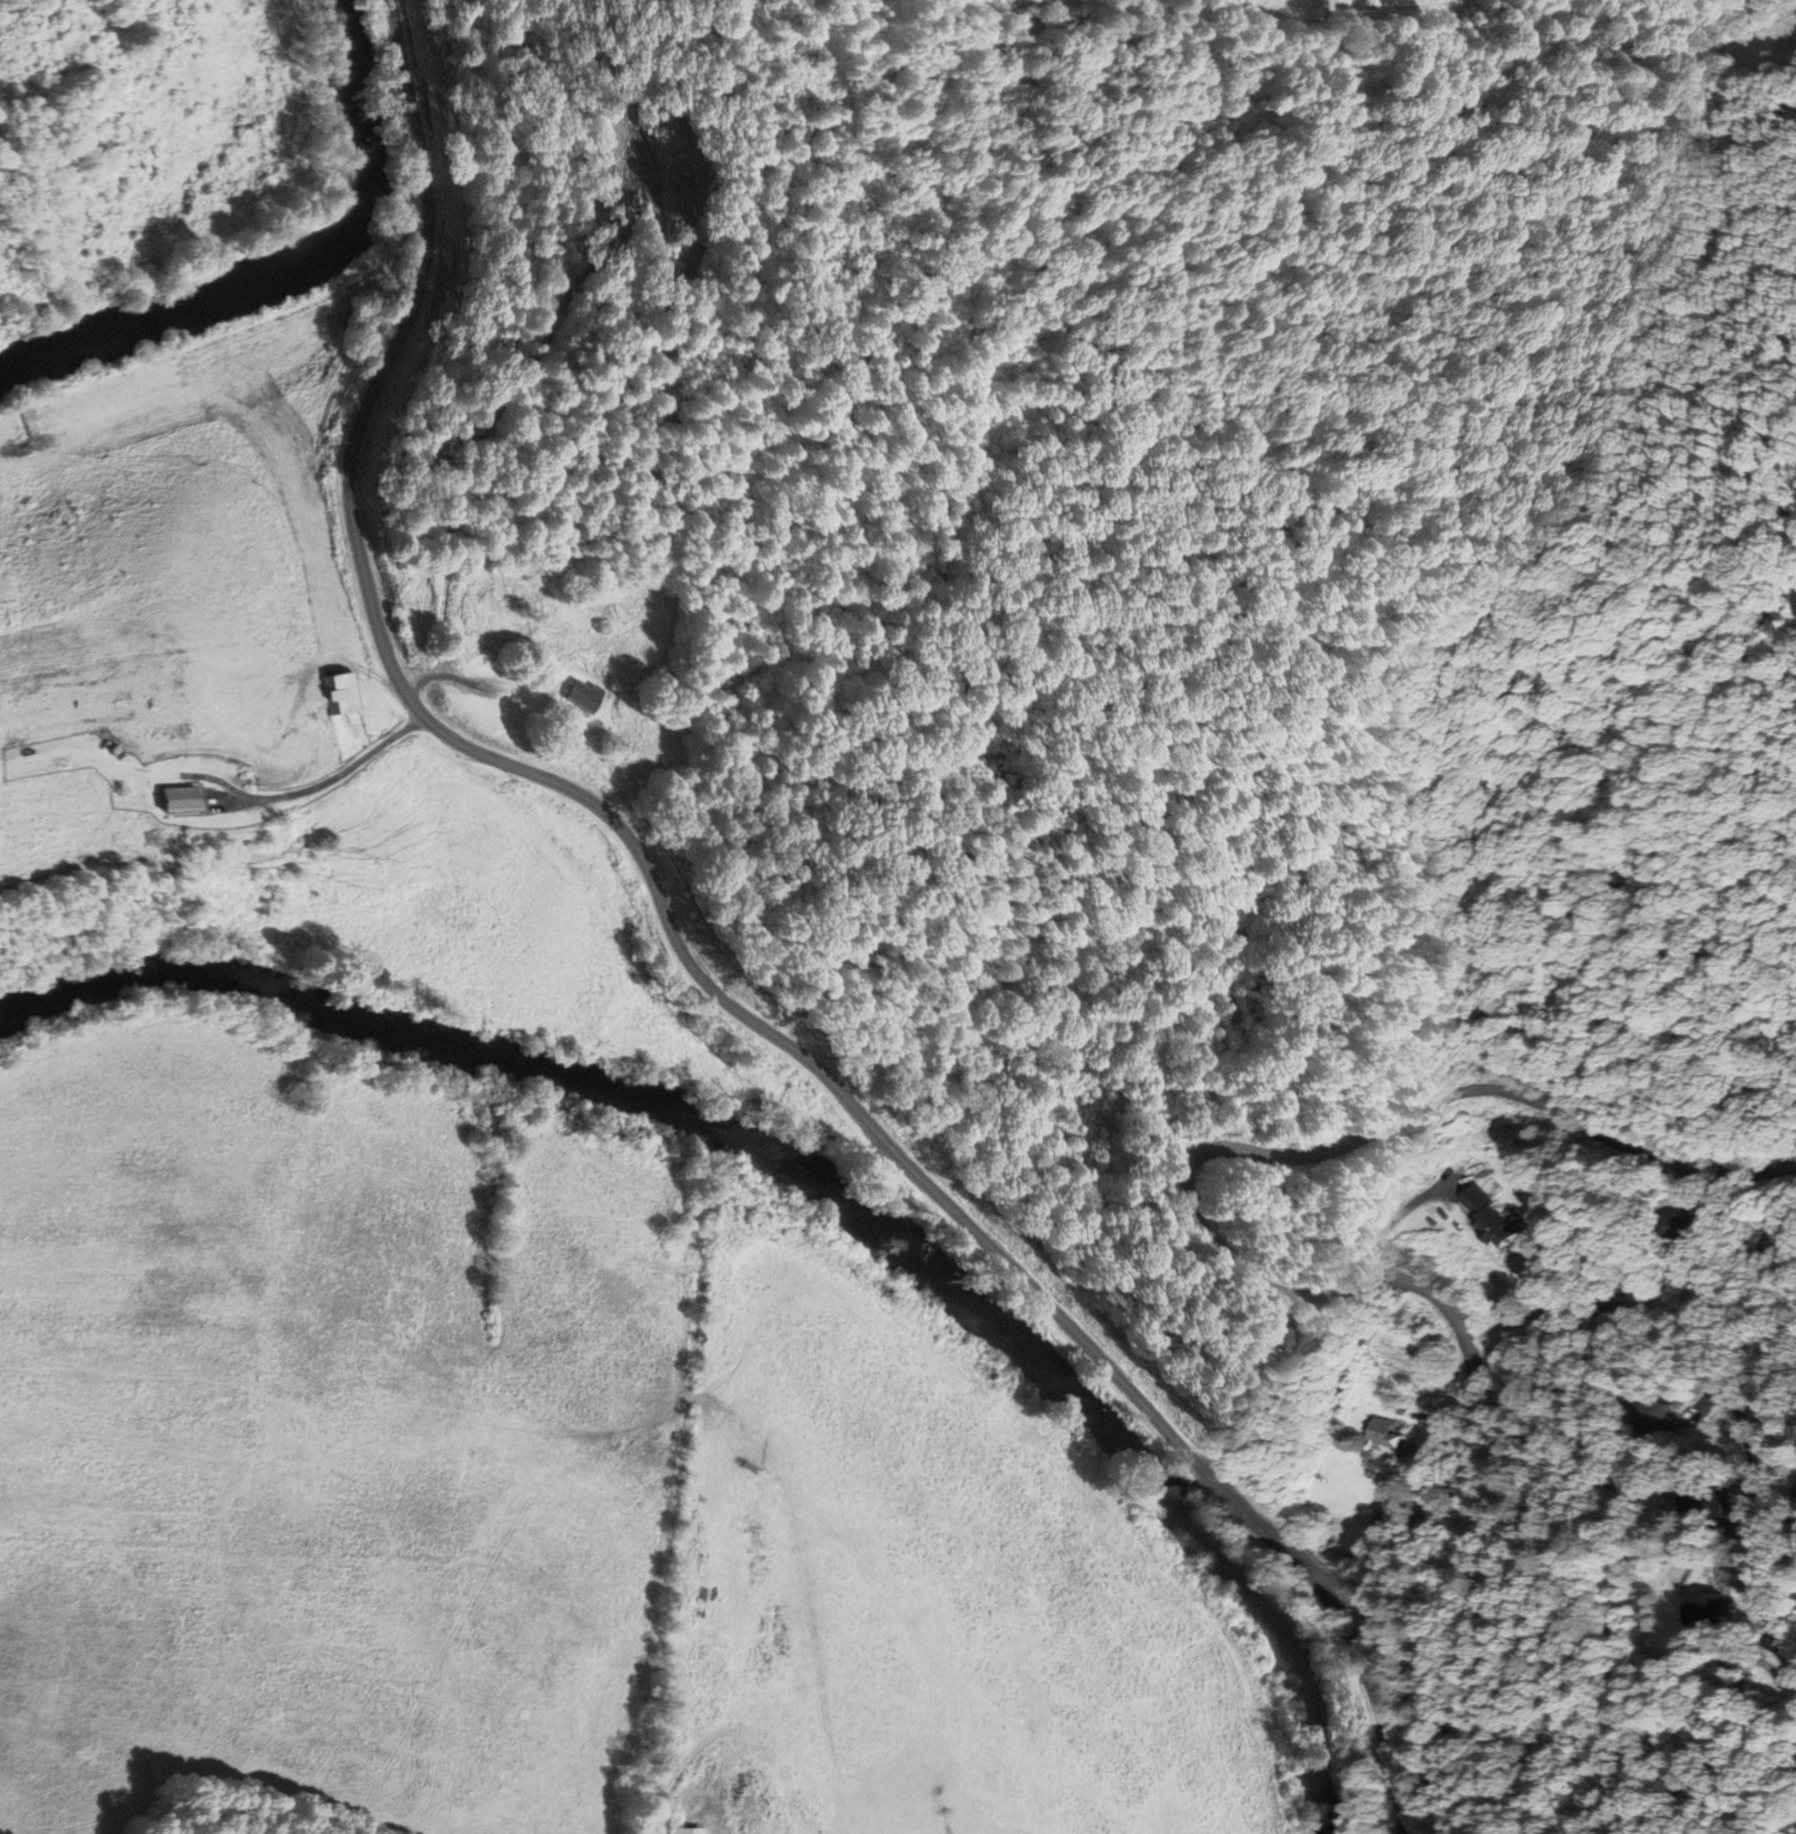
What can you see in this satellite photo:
river: (270, 276)
road: (530, 362)
road: (450, 677)
building: (337, 694)
building: (583, 696)
road: (338, 774)
building: (181, 800)
road: (697, 972)
river: (815, 1180)
road: (1184, 1190)
building: (1496, 1219)
building: (1674, 1228)
building: (1253, 1339)
building: (1387, 1435)
road: (1762, 1583)
building: (1707, 1611)
building: (689, 1830)

